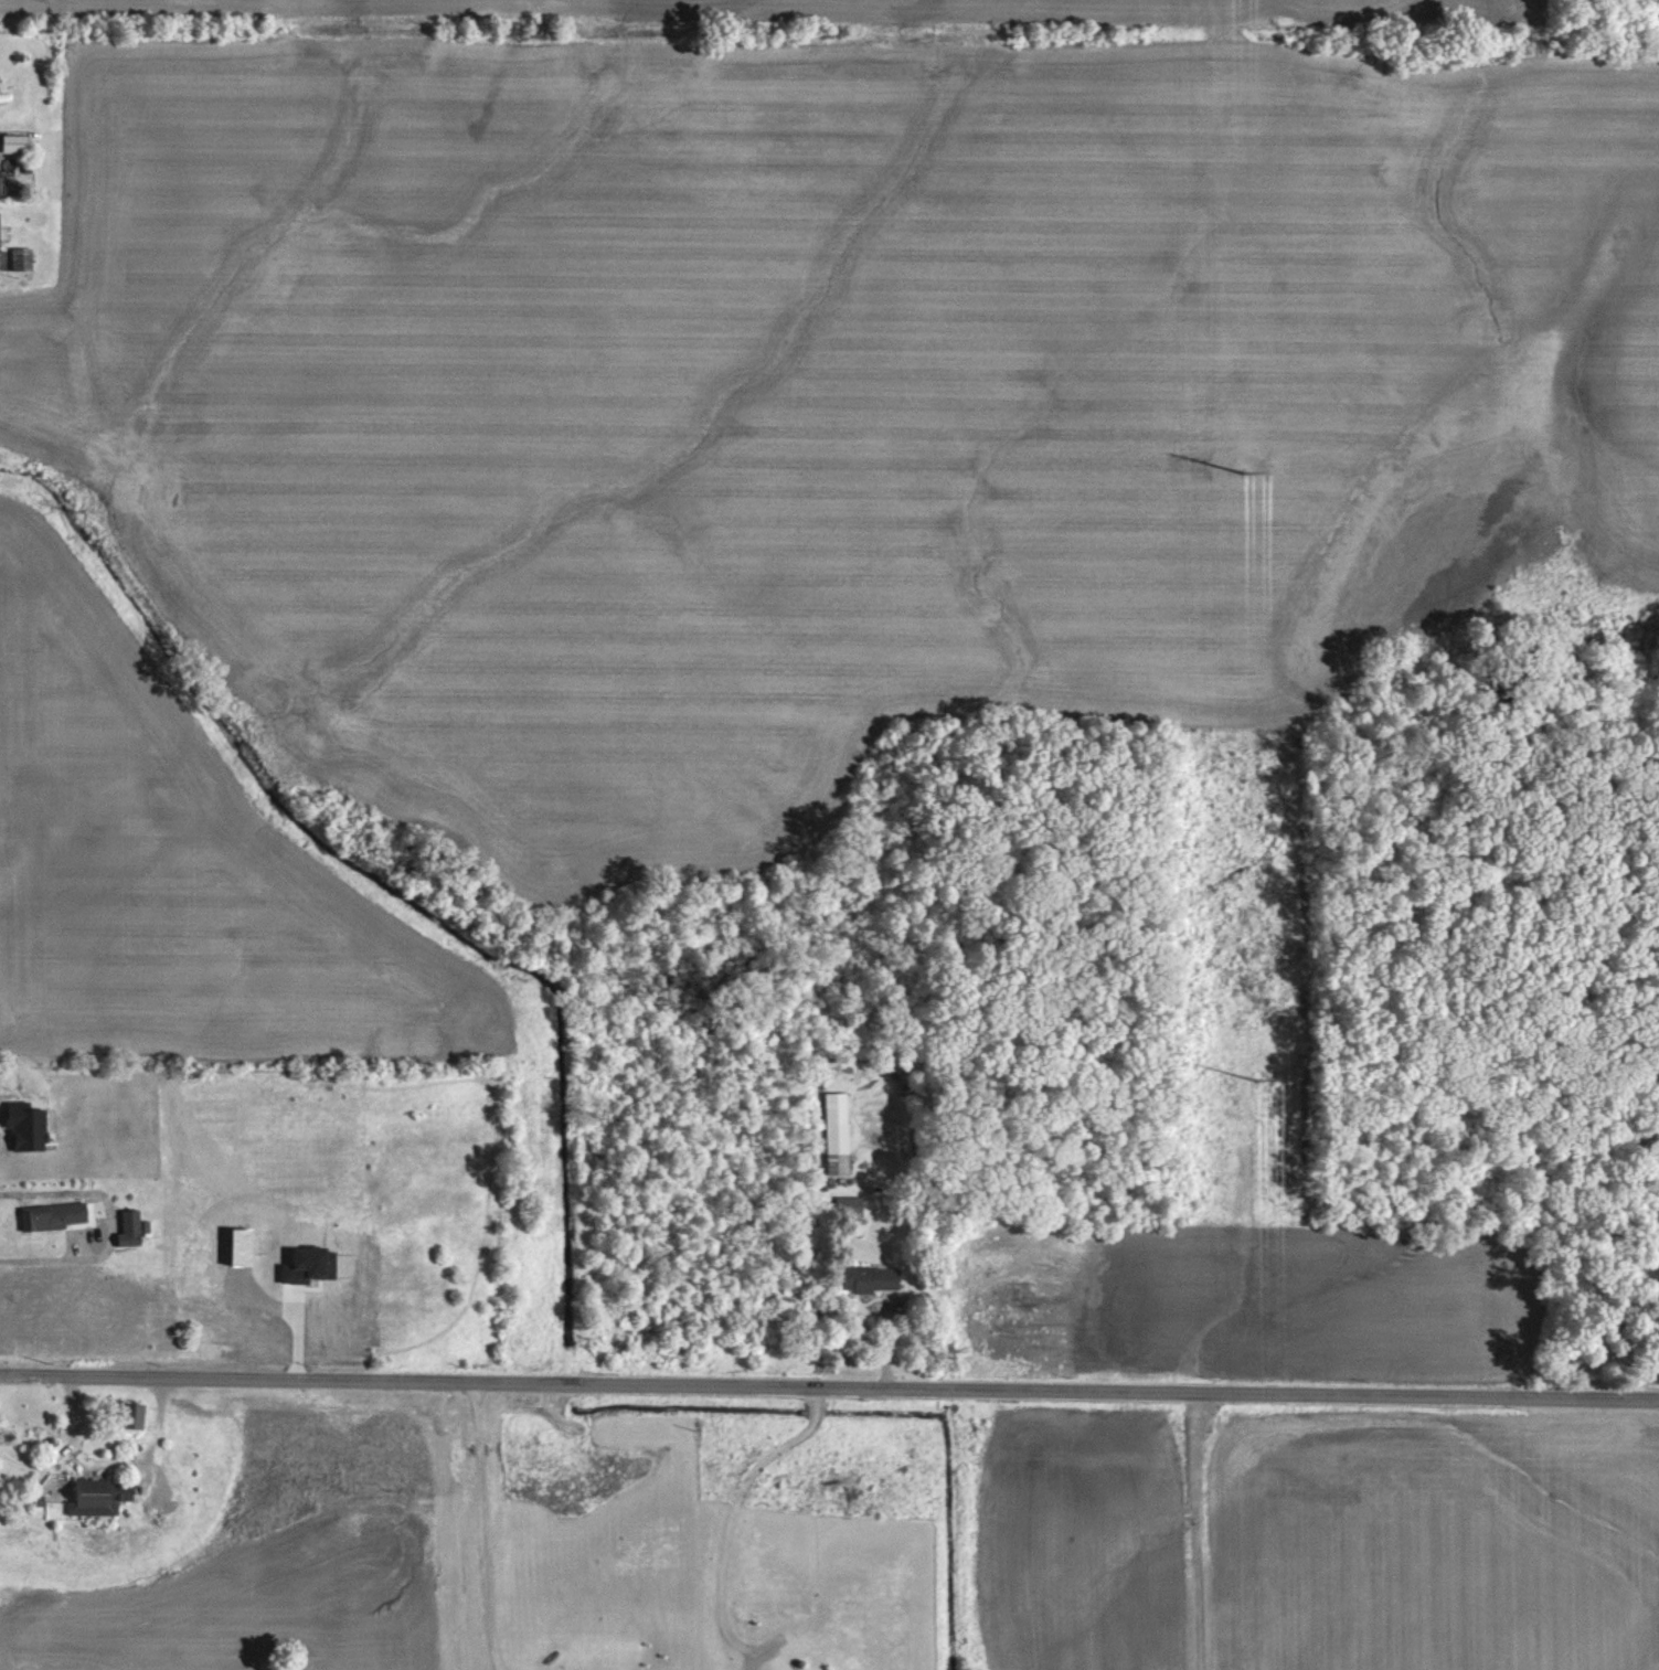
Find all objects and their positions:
building: (14, 142)
building: (0, 191)
building: (0, 233)
building: (21, 259)
power tower: (1244, 472)
power tower: (1255, 1079)
building: (837, 1134)
building: (851, 1205)
building: (54, 1215)
building: (130, 1227)
road: (46, 1263)
building: (872, 1279)
road: (829, 1376)
building: (137, 1414)
building: (102, 1496)
road: (736, 1507)
road: (486, 1521)

